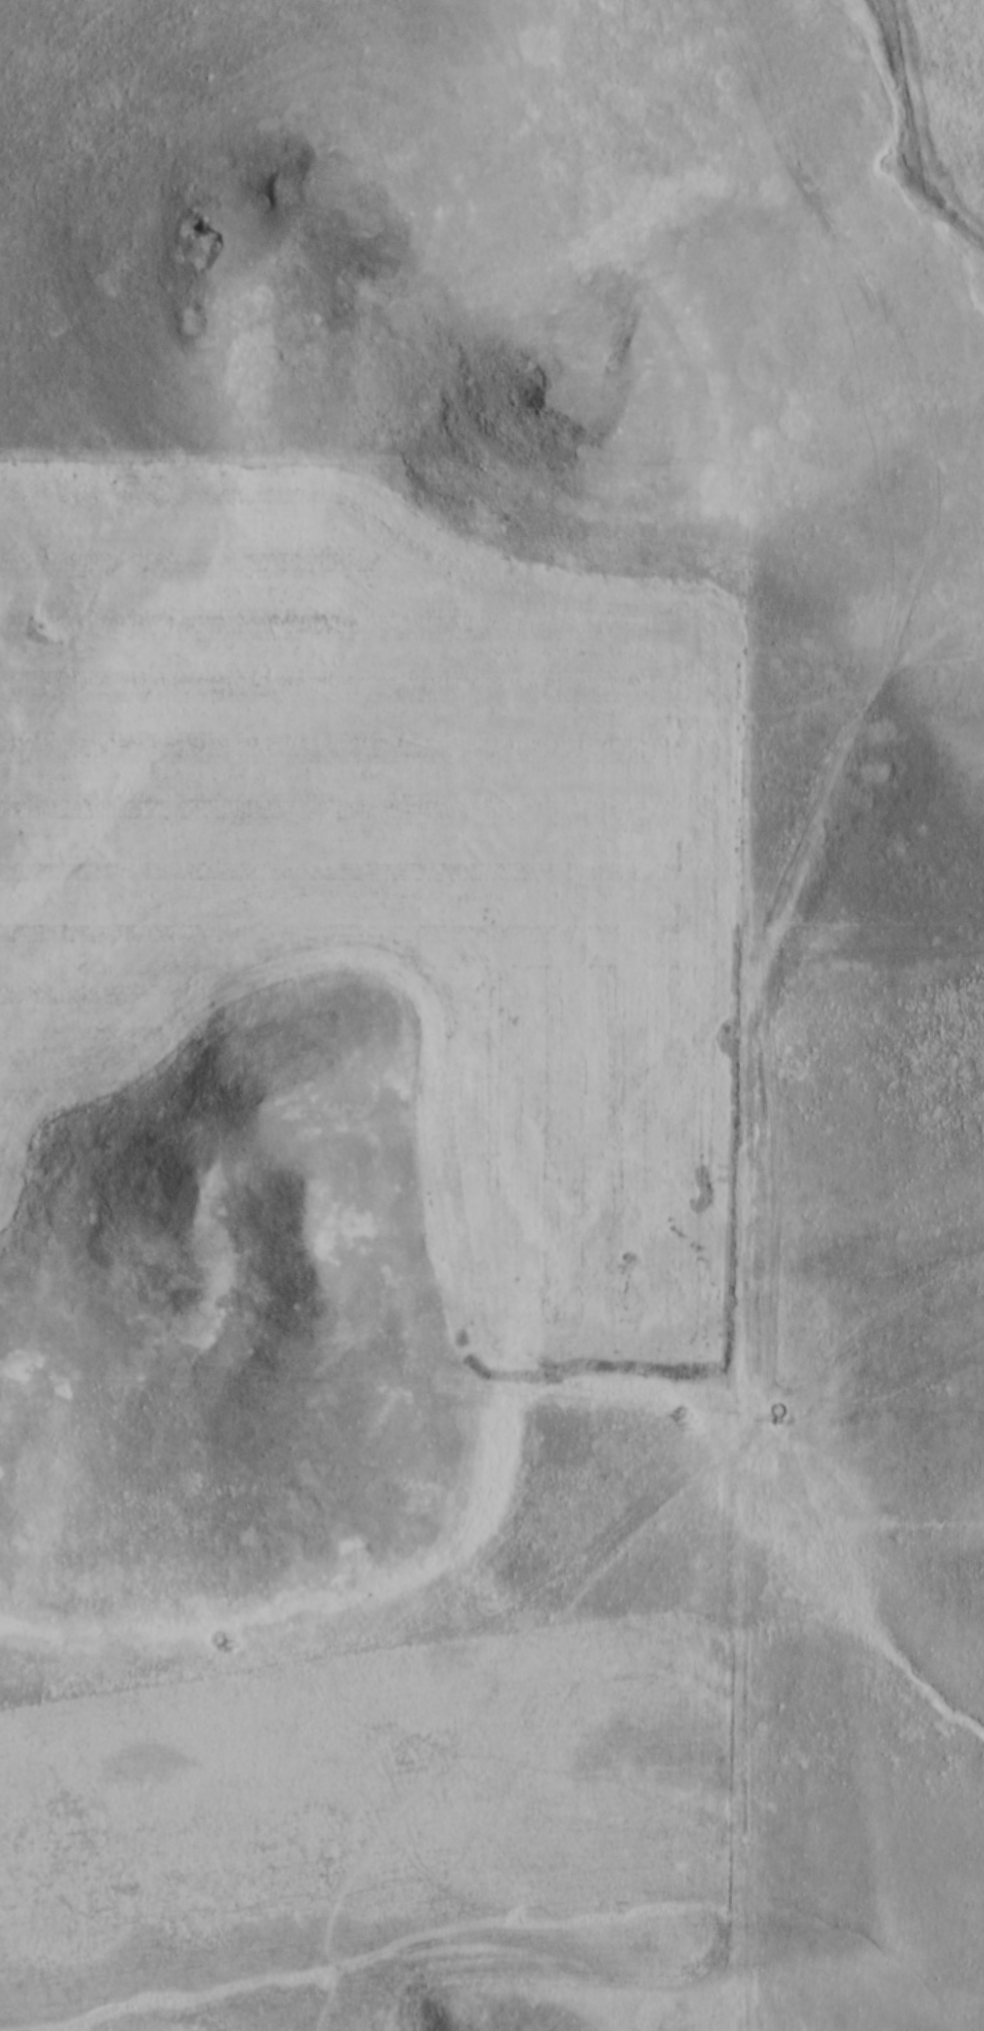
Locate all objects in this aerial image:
road: (756, 1074)

